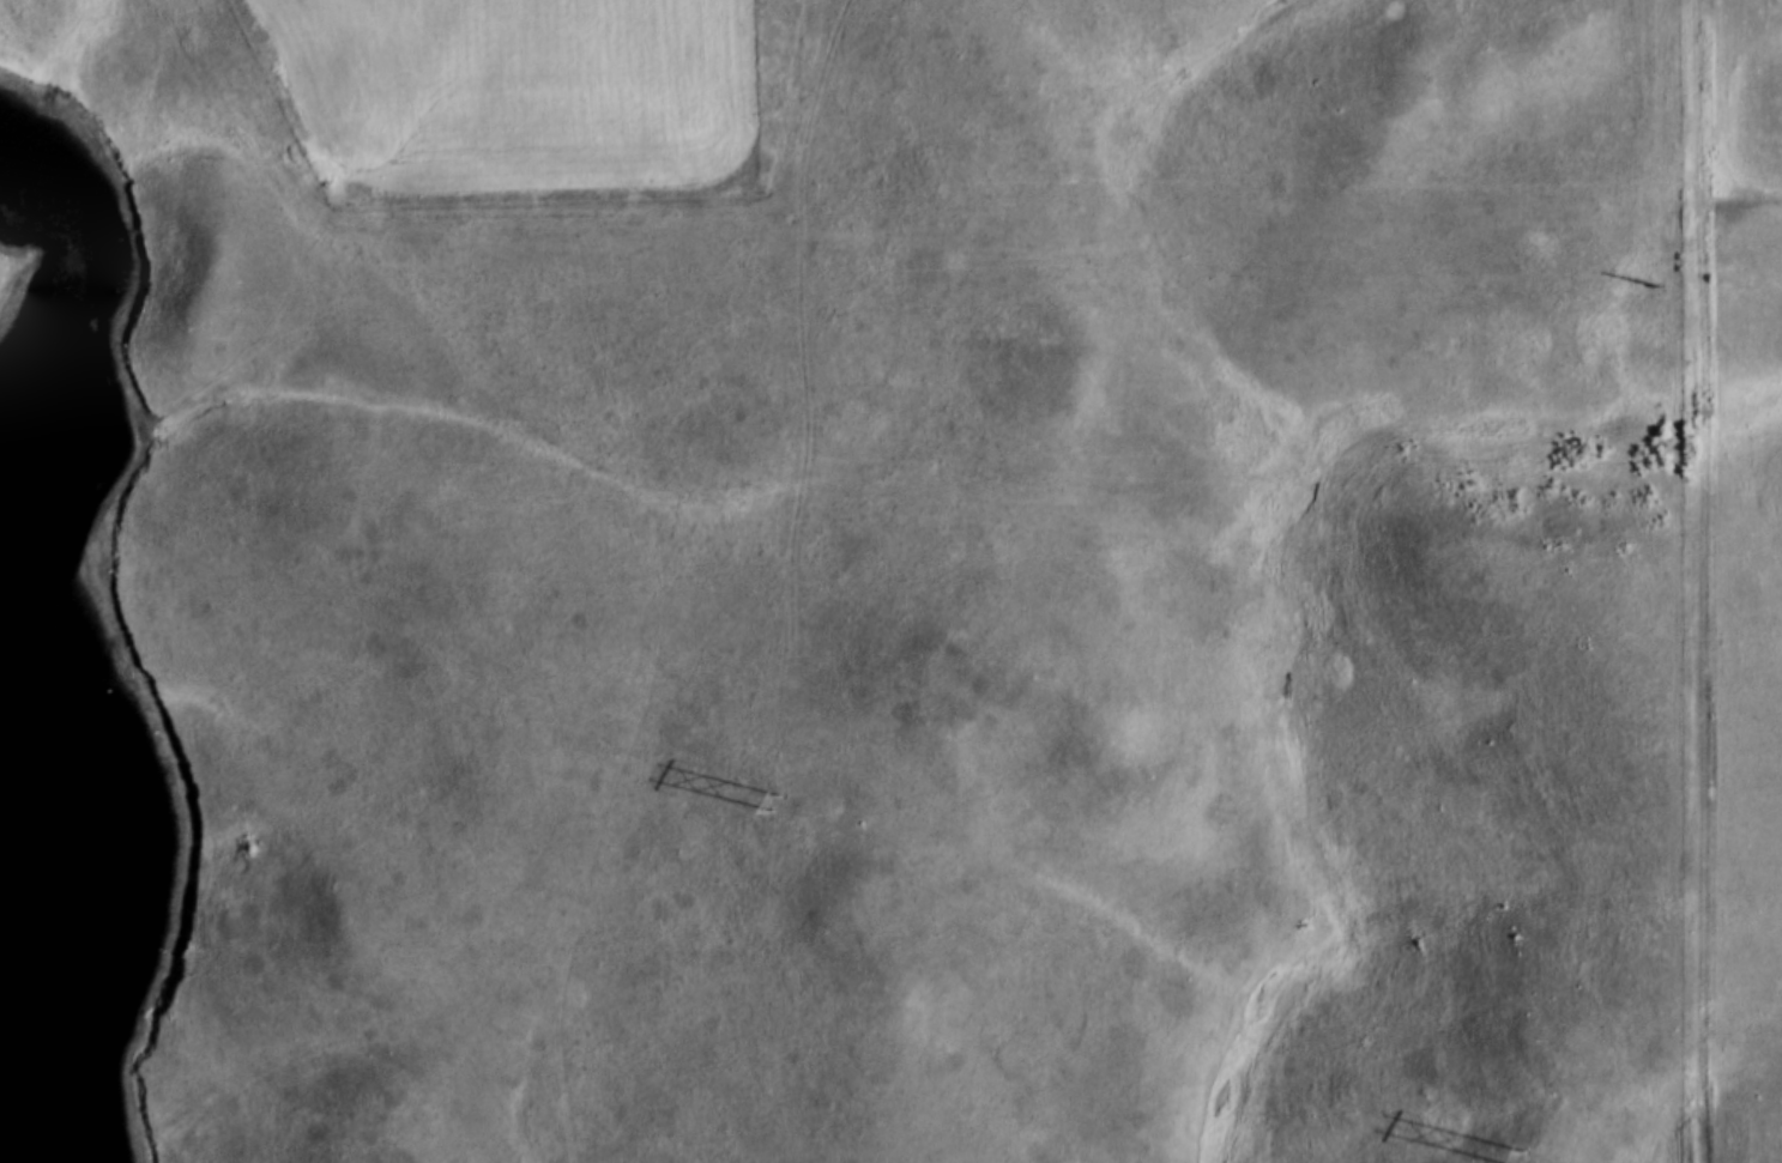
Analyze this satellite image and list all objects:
power tower: (768, 805)
power tower: (1524, 1162)

